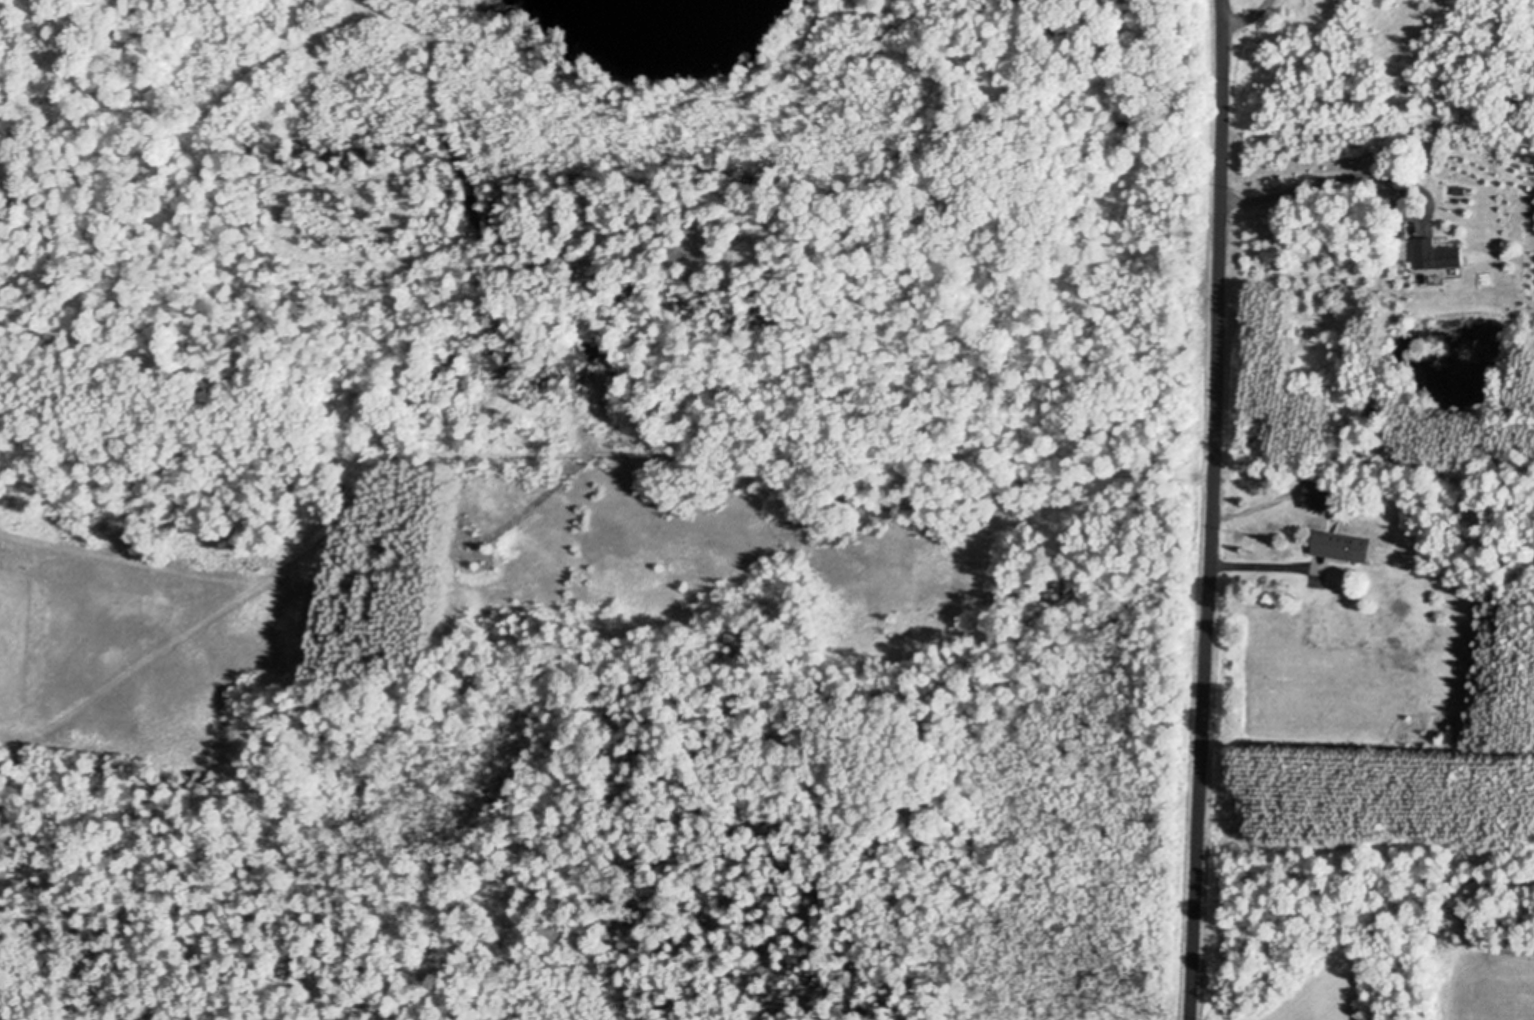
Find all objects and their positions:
road: (1248, 17)
road: (1309, 183)
building: (1441, 254)
building: (1318, 492)
road: (1252, 506)
road: (1212, 510)
building: (1345, 545)
road: (1260, 563)

